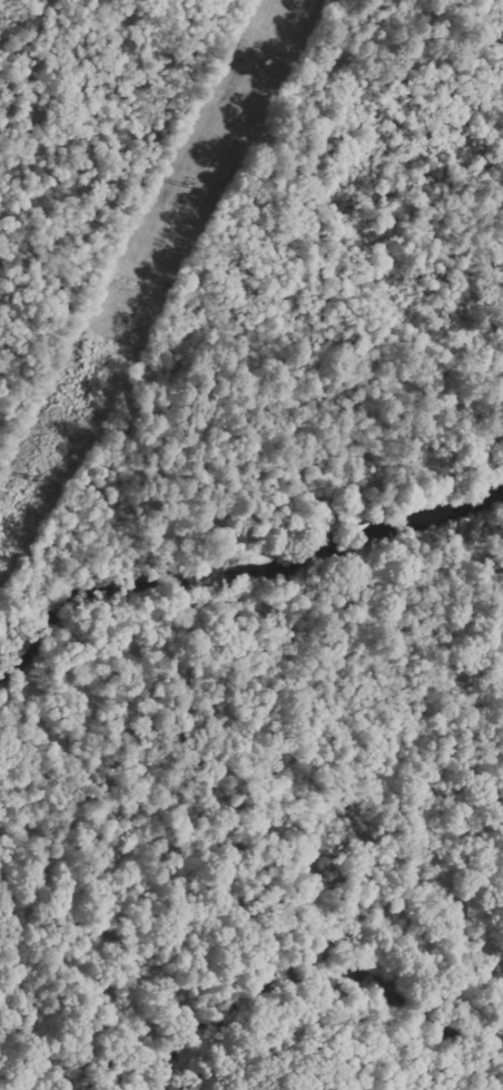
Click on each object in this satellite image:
power tower: (193, 182)
power tower: (28, 478)
river: (318, 970)

